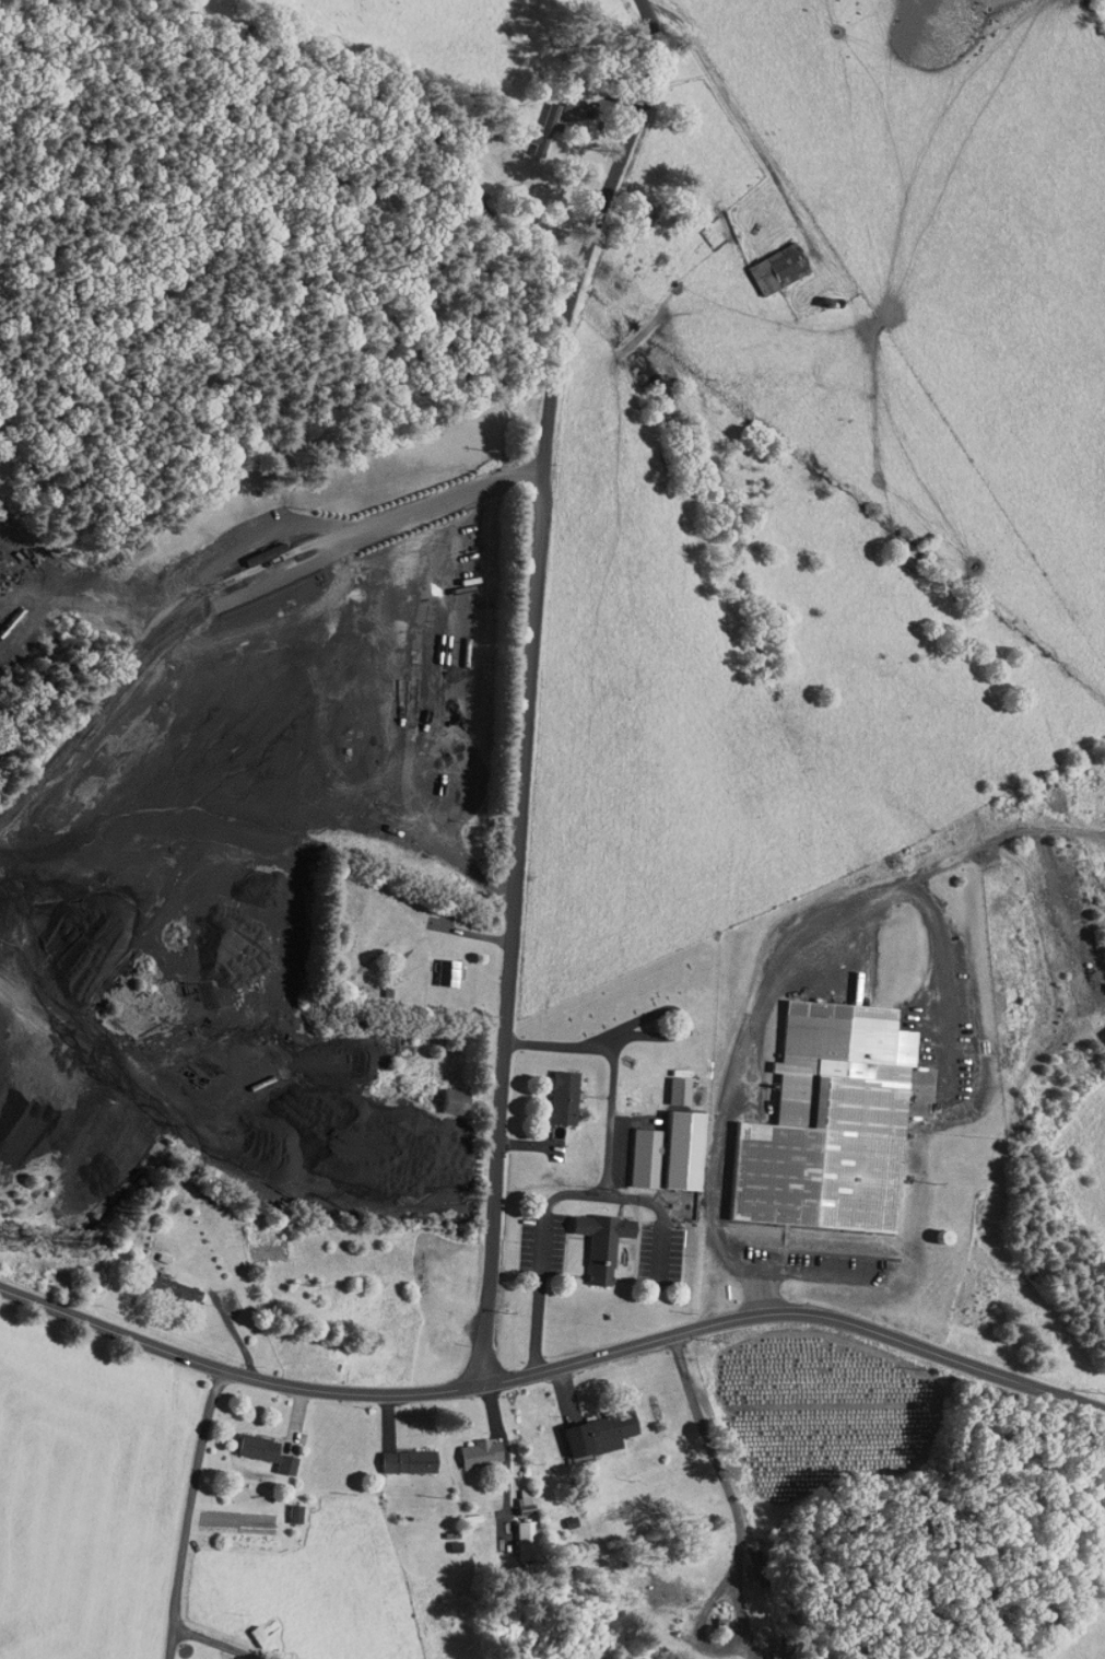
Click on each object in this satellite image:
road: (731, 110)
road: (203, 622)
road: (456, 678)
road: (529, 684)
quarry: (250, 822)
road: (784, 978)
road: (607, 1181)
road: (553, 1369)
road: (305, 1445)
road: (730, 1495)
road: (189, 1514)

